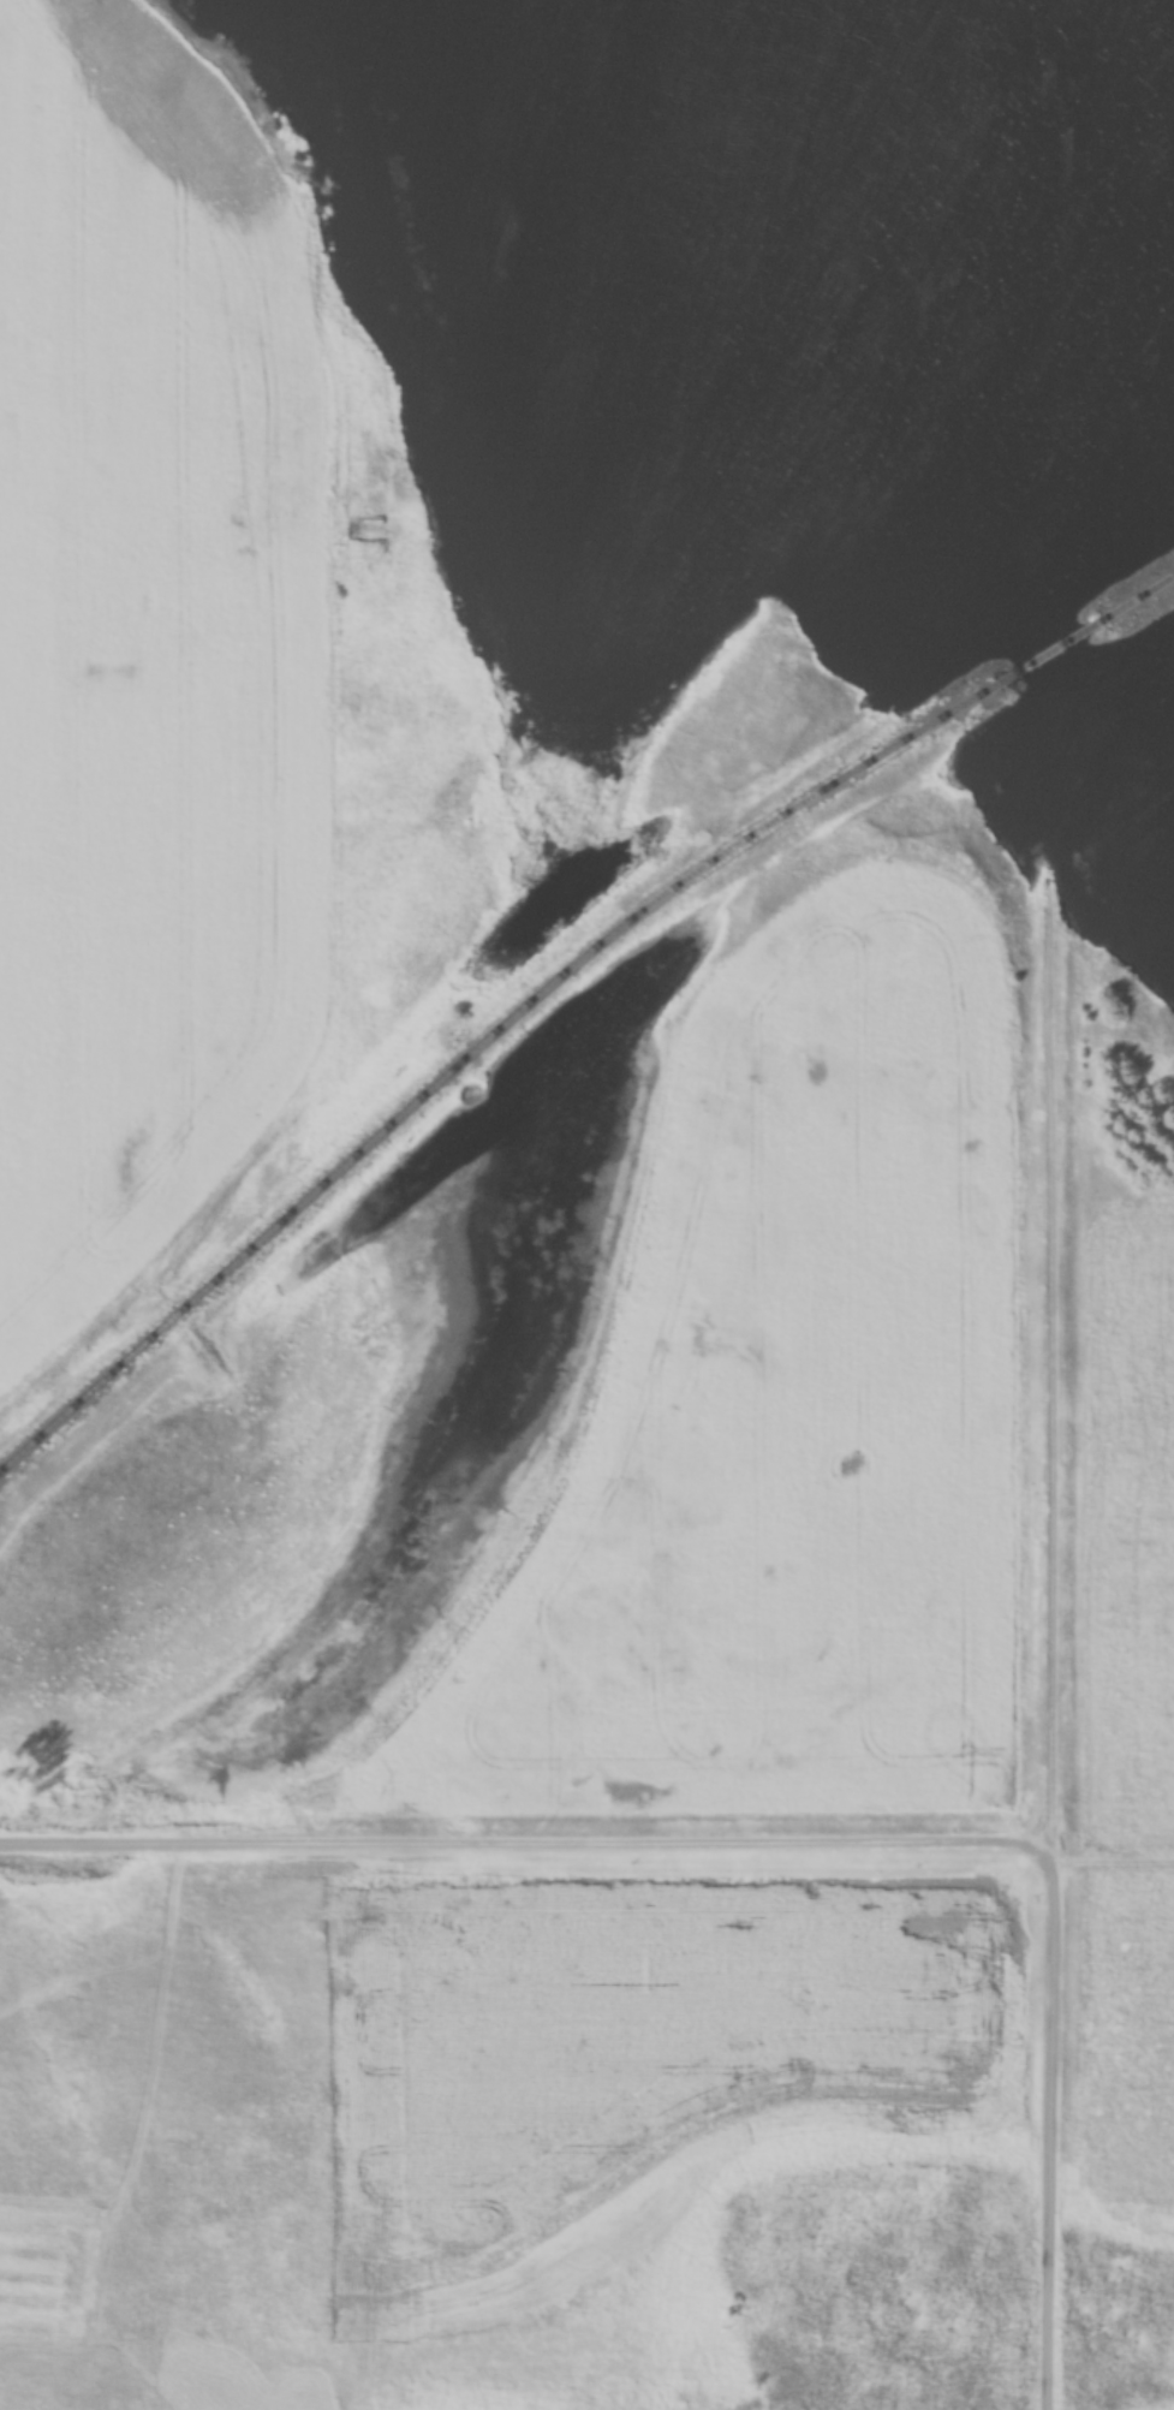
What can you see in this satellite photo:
railway: (1144, 599)
railway: (1061, 649)
railway: (483, 1054)
road: (1059, 1575)
road: (586, 1841)

